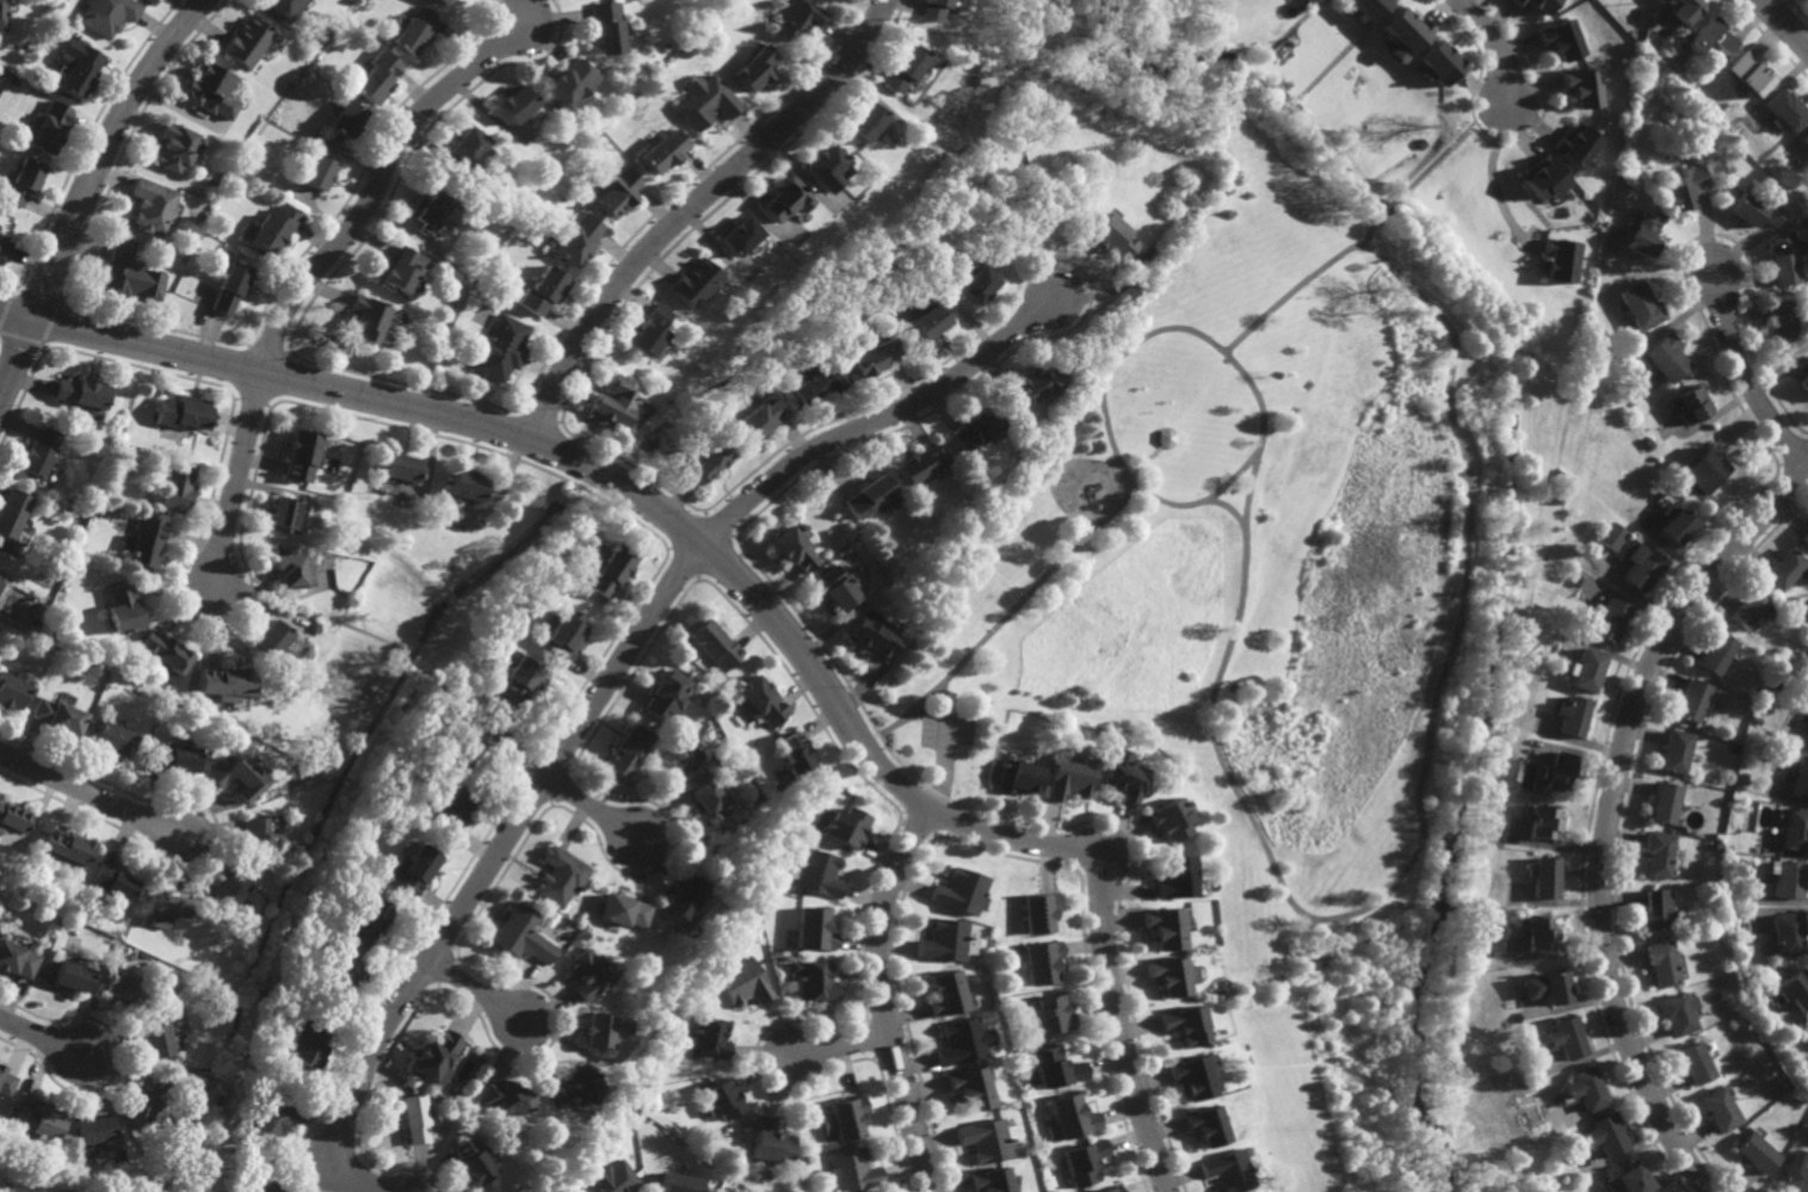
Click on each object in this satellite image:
building: (152, 0)
building: (440, 1)
building: (1538, 5)
building: (284, 6)
building: (1366, 7)
building: (931, 10)
building: (1683, 11)
building: (4, 14)
building: (107, 16)
building: (796, 18)
road: (1784, 23)
building: (411, 27)
building: (605, 27)
building: (1400, 32)
building: (1708, 37)
building: (1561, 38)
building: (247, 42)
road: (1494, 44)
building: (1438, 61)
building: (79, 66)
building: (753, 66)
building: (903, 68)
building: (1747, 74)
building: (376, 78)
building: (570, 82)
building: (1582, 87)
building: (211, 93)
building: (706, 101)
building: (514, 103)
building: (1785, 110)
building: (346, 119)
road: (1502, 121)
building: (863, 122)
building: (49, 126)
road: (1483, 131)
building: (1804, 140)
building: (174, 146)
building: (465, 146)
building: (1576, 146)
building: (665, 150)
road: (1432, 162)
building: (826, 167)
building: (319, 172)
building: (1543, 178)
building: (25, 181)
building: (1685, 186)
road: (91, 190)
building: (617, 190)
road: (1498, 197)
building: (783, 199)
building: (153, 205)
road: (690, 206)
building: (1755, 209)
road: (1386, 210)
building: (430, 212)
building: (272, 228)
road: (1369, 229)
building: (738, 236)
building: (1642, 236)
building: (1112, 237)
building: (576, 239)
building: (4, 248)
building: (1560, 259)
building: (1785, 261)
building: (403, 270)
building: (131, 273)
road: (313, 273)
building: (692, 282)
building: (976, 285)
building: (229, 290)
building: (541, 291)
building: (1639, 303)
building: (363, 316)
building: (1782, 319)
building: (927, 320)
building: (648, 331)
building: (500, 348)
building: (870, 357)
building: (1665, 358)
road: (1230, 359)
road: (1745, 379)
building: (1803, 383)
building: (814, 384)
building: (1030, 388)
building: (82, 395)
building: (1689, 403)
building: (610, 404)
building: (181, 410)
building: (755, 419)
building: (975, 427)
building: (38, 451)
building: (300, 455)
building: (708, 457)
building: (919, 465)
building: (396, 468)
building: (1703, 469)
building: (177, 484)
building: (461, 484)
building: (870, 496)
road: (1230, 507)
building: (12, 512)
building: (283, 513)
building: (1674, 526)
building: (1612, 536)
building: (1804, 538)
building: (144, 543)
building: (794, 548)
building: (1645, 568)
building: (291, 569)
building: (1783, 569)
building: (606, 570)
building: (834, 588)
road: (753, 591)
building: (1747, 609)
building: (122, 610)
road: (1010, 611)
building: (1610, 619)
park: (1286, 622)
building: (871, 632)
building: (564, 635)
building: (269, 638)
building: (712, 643)
building: (162, 653)
building: (1717, 653)
building: (1587, 671)
building: (518, 678)
road: (606, 684)
building: (222, 685)
building: (11, 691)
building: (667, 696)
road: (942, 696)
building: (1693, 700)
building: (760, 702)
building: (1572, 715)
building: (56, 717)
building: (477, 734)
building: (1806, 737)
building: (112, 739)
building: (1677, 751)
building: (629, 752)
road: (1427, 755)
building: (173, 756)
building: (796, 756)
road: (943, 758)
building: (1557, 771)
building: (237, 777)
building: (1014, 777)
building: (1067, 777)
building: (1122, 777)
building: (1801, 779)
building: (703, 790)
road: (92, 793)
building: (1665, 803)
building: (451, 805)
road: (590, 807)
road: (1608, 813)
building: (12, 819)
building: (1167, 820)
building: (1544, 823)
building: (846, 827)
building: (1795, 829)
building: (258, 832)
building: (67, 851)
building: (1659, 853)
building: (412, 869)
building: (816, 871)
building: (560, 877)
building: (1173, 877)
building: (1543, 877)
building: (1789, 879)
building: (112, 881)
building: (959, 890)
building: (227, 891)
building: (683, 900)
building: (163, 908)
building: (1658, 909)
building: (624, 912)
building: (1037, 912)
building: (364, 922)
building: (1162, 927)
building: (813, 928)
building: (1541, 932)
building: (1787, 932)
building: (520, 934)
building: (940, 939)
building: (17, 959)
building: (1041, 961)
building: (1662, 961)
building: (587, 971)
building: (341, 972)
building: (70, 974)
building: (1172, 976)
building: (814, 980)
building: (743, 982)
building: (123, 987)
road: (474, 988)
building: (1547, 988)
building: (1792, 989)
building: (943, 993)
road: (883, 998)
building: (1679, 1012)
building: (1048, 1013)
building: (1186, 1025)
building: (601, 1029)
road: (42, 1034)
building: (1807, 1034)
building: (1566, 1037)
building: (711, 1038)
building: (153, 1039)
building: (959, 1042)
building: (303, 1044)
road: (840, 1045)
building: (438, 1057)
building: (1695, 1062)
building: (1054, 1067)
building: (1192, 1076)
building: (6, 1081)
building: (968, 1087)
building: (1585, 1087)
building: (575, 1088)
building: (507, 1097)
building: (721, 1099)
building: (140, 1104)
building: (1720, 1108)
building: (1068, 1116)
building: (413, 1118)
building: (846, 1118)
building: (37, 1119)
building: (264, 1125)
building: (1207, 1126)
building: (92, 1128)
building: (1605, 1136)
building: (982, 1139)
building: (772, 1142)
building: (1757, 1153)
building: (471, 1161)
building: (1084, 1162)
building: (850, 1169)
building: (1229, 1171)
building: (1795, 1172)
building: (612, 1179)
building: (1633, 1179)
building: (988, 1180)
building: (677, 1182)
building: (266, 1185)
building: (1111, 1190)

